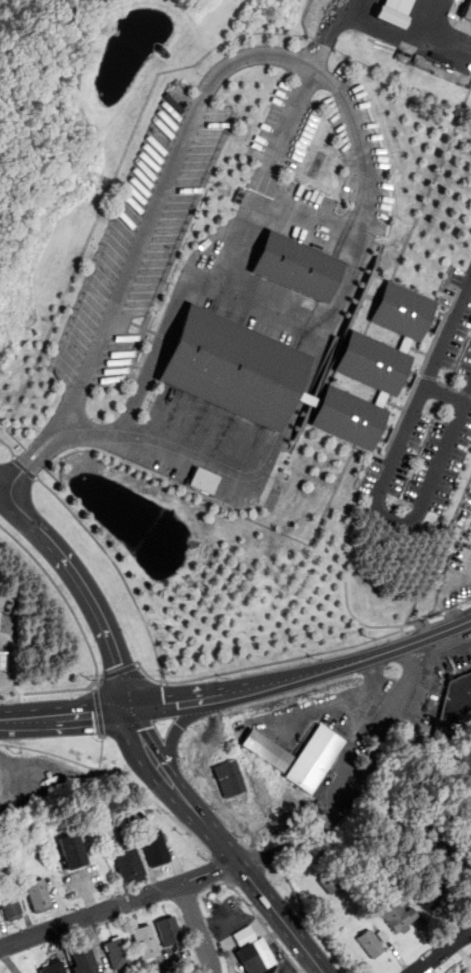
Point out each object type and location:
building: (394, 12)
building: (468, 12)
road: (353, 16)
road: (431, 20)
road: (335, 90)
road: (266, 178)
power tower: (96, 181)
road: (367, 183)
road: (151, 216)
road: (305, 226)
building: (299, 267)
road: (184, 277)
road: (320, 355)
building: (298, 370)
road: (422, 373)
road: (431, 376)
road: (449, 385)
road: (466, 391)
road: (303, 399)
road: (9, 446)
road: (387, 453)
road: (31, 457)
road: (20, 461)
road: (227, 465)
road: (30, 470)
road: (387, 476)
building: (204, 479)
road: (12, 485)
road: (9, 501)
road: (119, 567)
road: (67, 598)
road: (92, 599)
road: (403, 646)
building: (2, 659)
road: (286, 660)
road: (121, 670)
road: (150, 674)
road: (269, 682)
road: (60, 689)
building: (457, 698)
road: (167, 702)
traffic signals: (132, 708)
road: (99, 709)
road: (348, 713)
road: (80, 715)
road: (14, 719)
building: (444, 732)
road: (174, 737)
road: (148, 749)
road: (102, 751)
road: (50, 752)
building: (266, 753)
building: (315, 762)
building: (232, 781)
road: (15, 782)
road: (362, 783)
road: (161, 805)
building: (469, 820)
building: (469, 829)
building: (157, 848)
building: (75, 851)
building: (452, 861)
building: (132, 866)
road: (222, 868)
road: (251, 878)
building: (334, 881)
building: (40, 895)
building: (429, 898)
building: (11, 905)
road: (119, 905)
building: (401, 918)
road: (266, 926)
road: (198, 927)
building: (171, 932)
building: (384, 937)
building: (147, 943)
building: (371, 944)
road: (444, 950)
building: (119, 953)
building: (257, 956)
building: (86, 960)
building: (56, 967)

